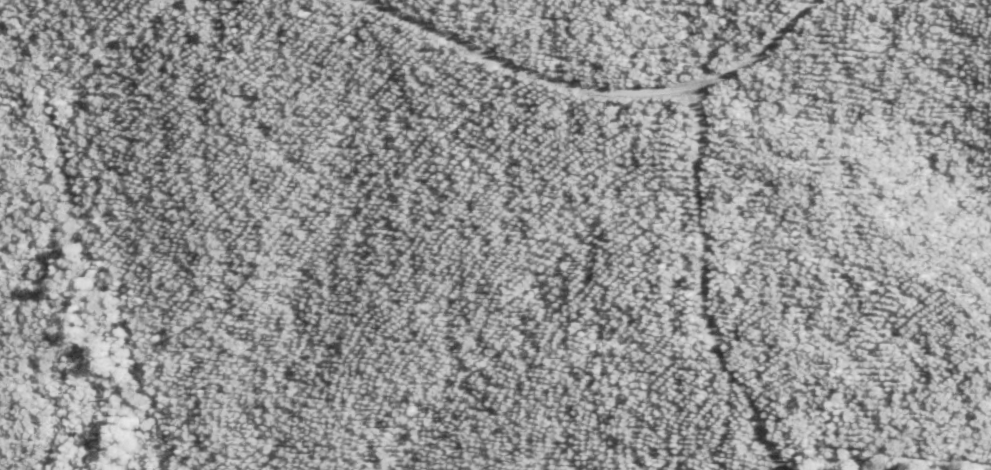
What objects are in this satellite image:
road: (576, 214)

